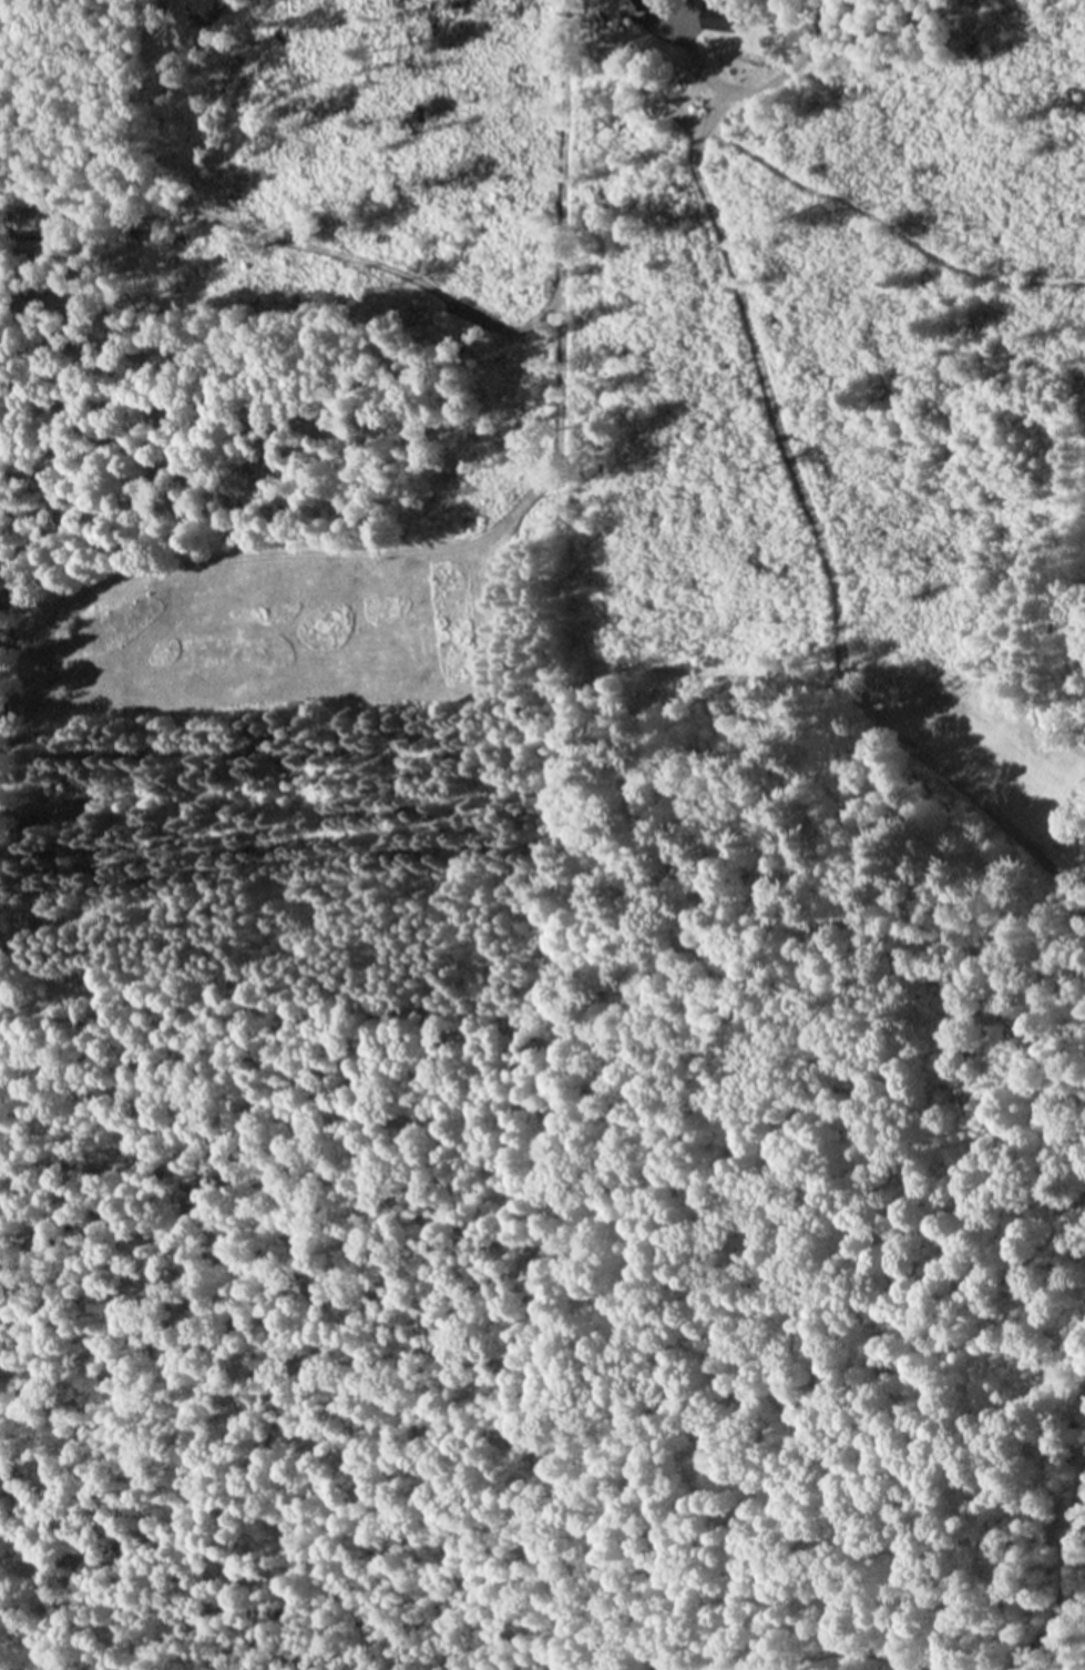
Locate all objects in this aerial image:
building: (638, 6)
building: (720, 19)
road: (743, 91)
road: (675, 1667)

